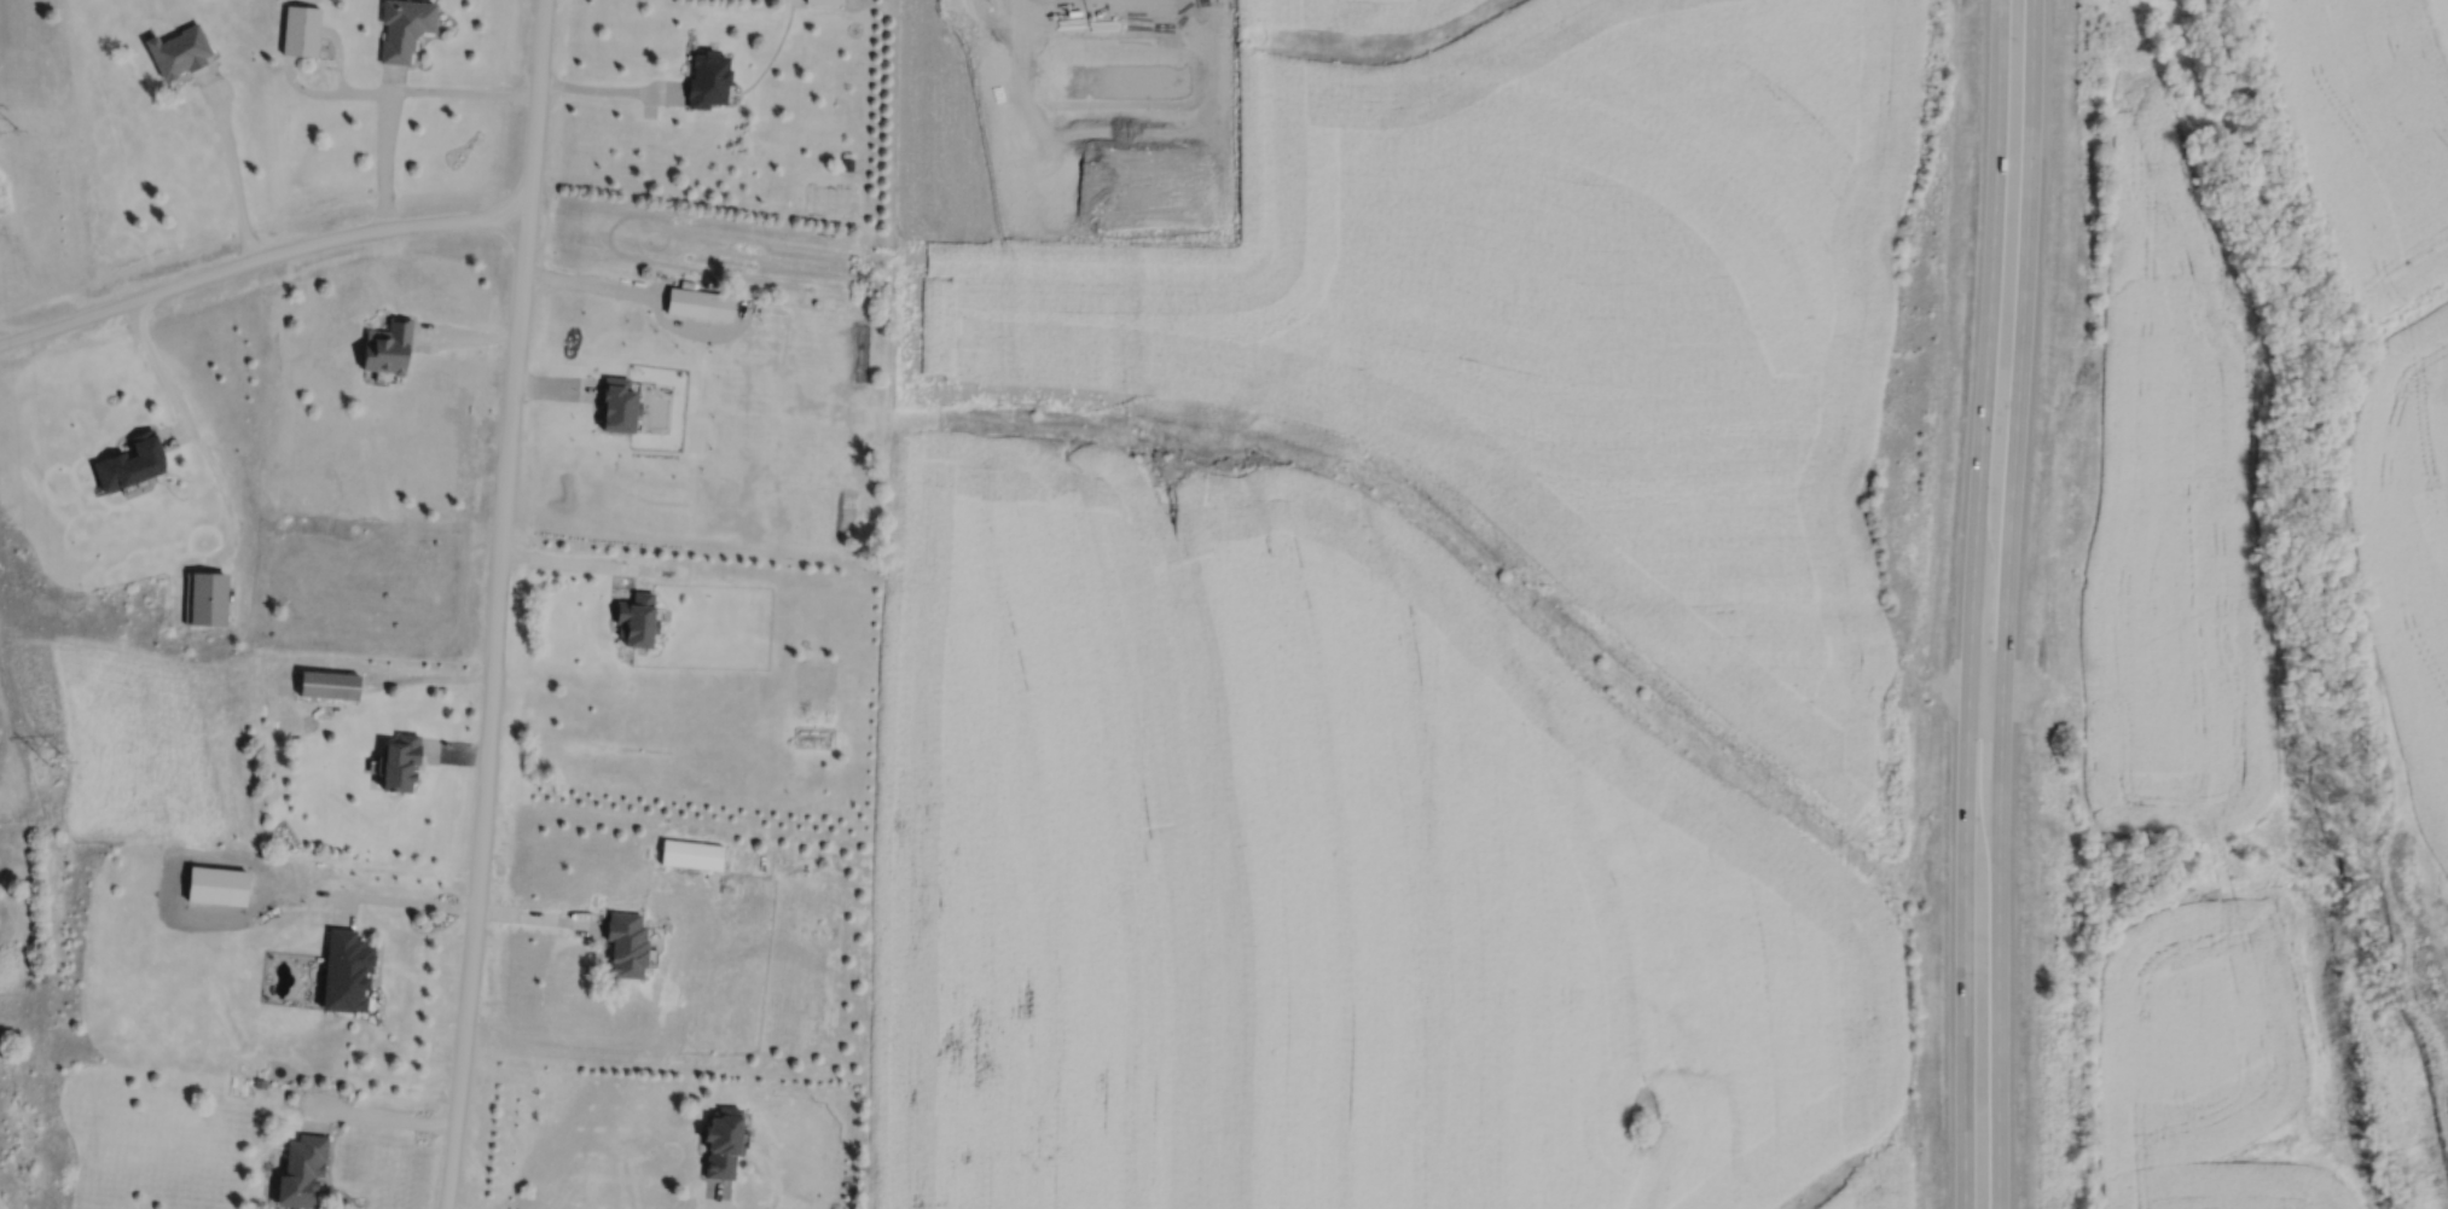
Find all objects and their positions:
building: (824, 0)
building: (405, 25)
building: (301, 29)
building: (179, 48)
road: (338, 56)
building: (708, 77)
road: (605, 88)
road: (400, 89)
power tower: (17, 126)
road: (384, 146)
building: (847, 163)
road: (231, 164)
road: (259, 257)
road: (592, 281)
building: (701, 303)
road: (468, 336)
building: (389, 345)
road: (556, 385)
building: (619, 405)
road: (193, 431)
road: (175, 432)
building: (129, 463)
road: (592, 564)
building: (204, 599)
road: (497, 604)
road: (1973, 604)
road: (2005, 604)
building: (637, 622)
road: (429, 676)
building: (329, 686)
road: (1986, 687)
road: (456, 750)
building: (398, 758)
power tower: (69, 768)
building: (691, 851)
road: (457, 906)
building: (625, 942)
building: (344, 970)
building: (259, 1082)
road: (371, 1114)
building: (719, 1141)
building: (301, 1172)
road: (715, 1196)

